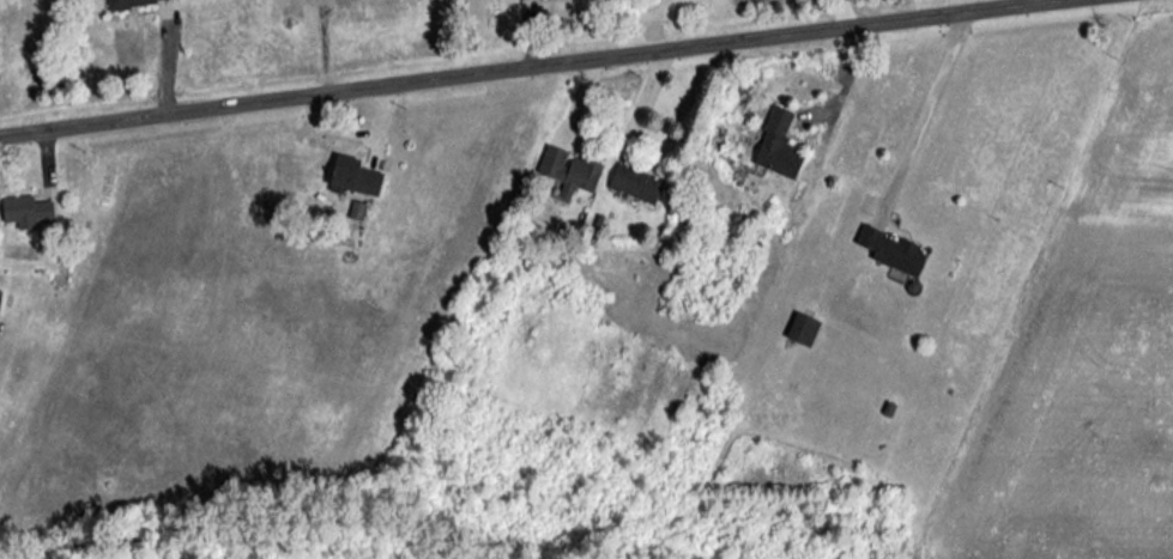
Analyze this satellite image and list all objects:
building: (132, 1)
road: (522, 65)
road: (926, 110)
building: (780, 153)
building: (570, 170)
building: (356, 176)
building: (637, 183)
building: (29, 211)
building: (890, 249)
building: (804, 328)

